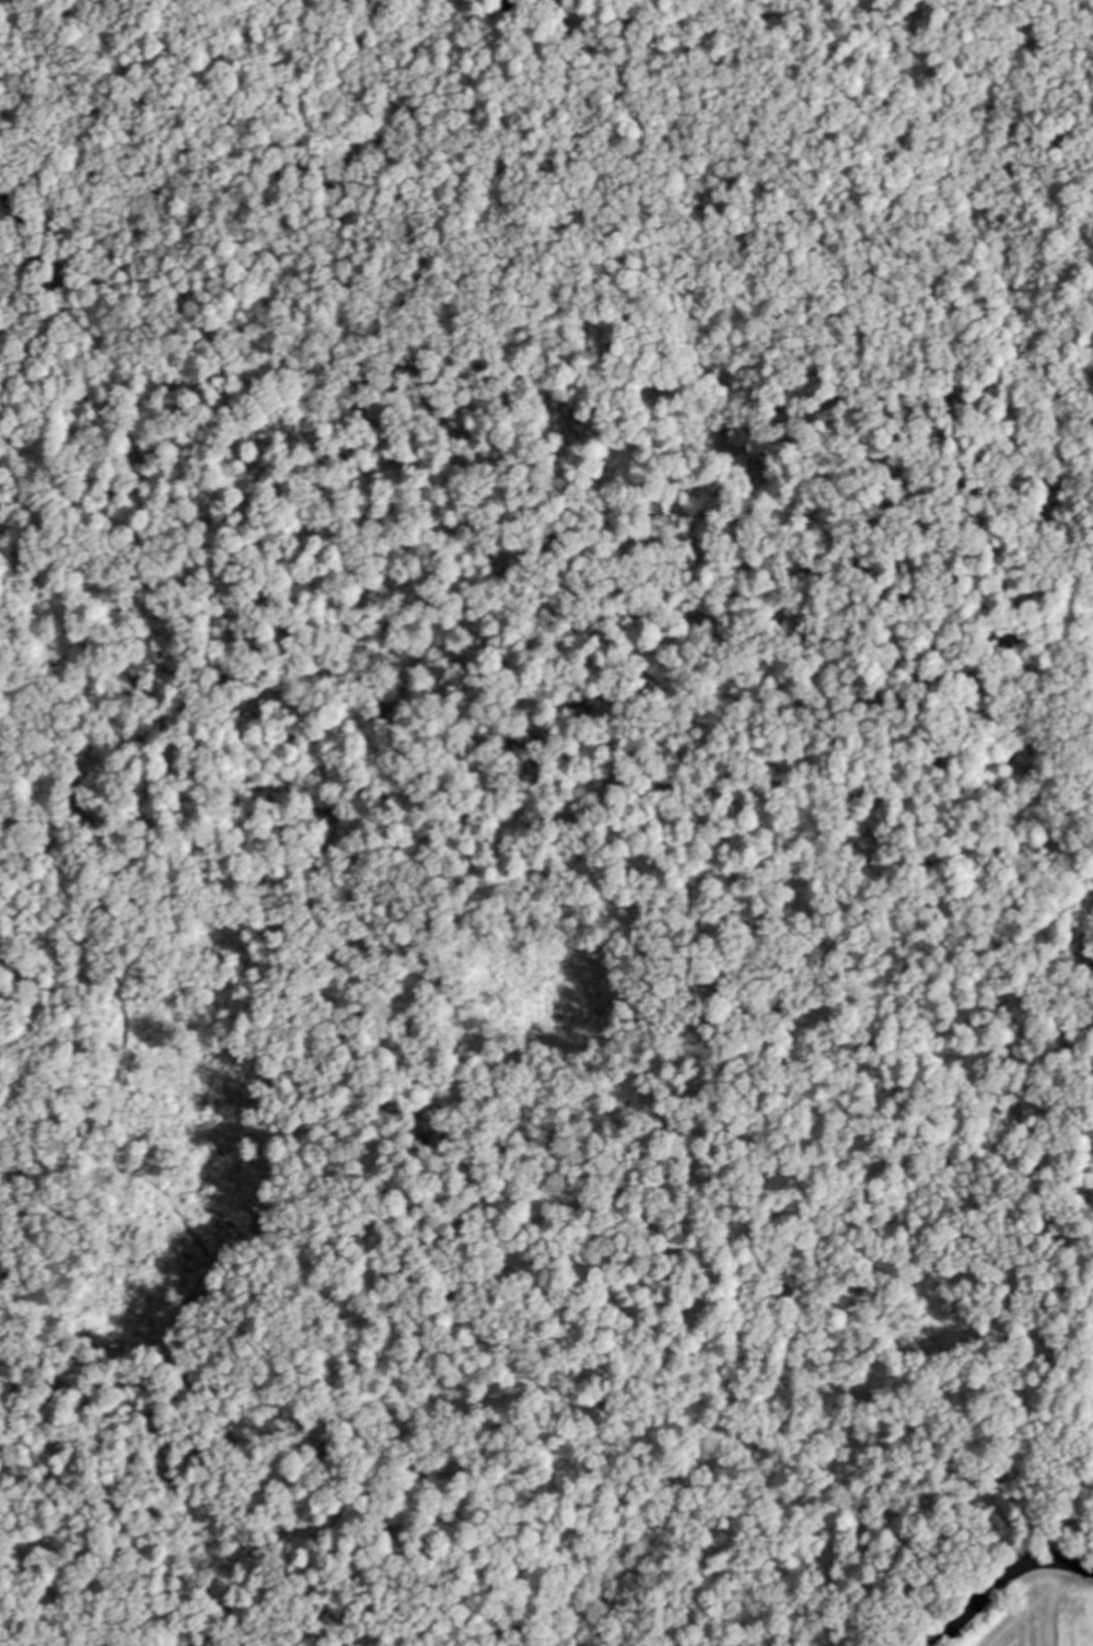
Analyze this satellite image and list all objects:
road: (96, 1004)
road: (1005, 1579)

